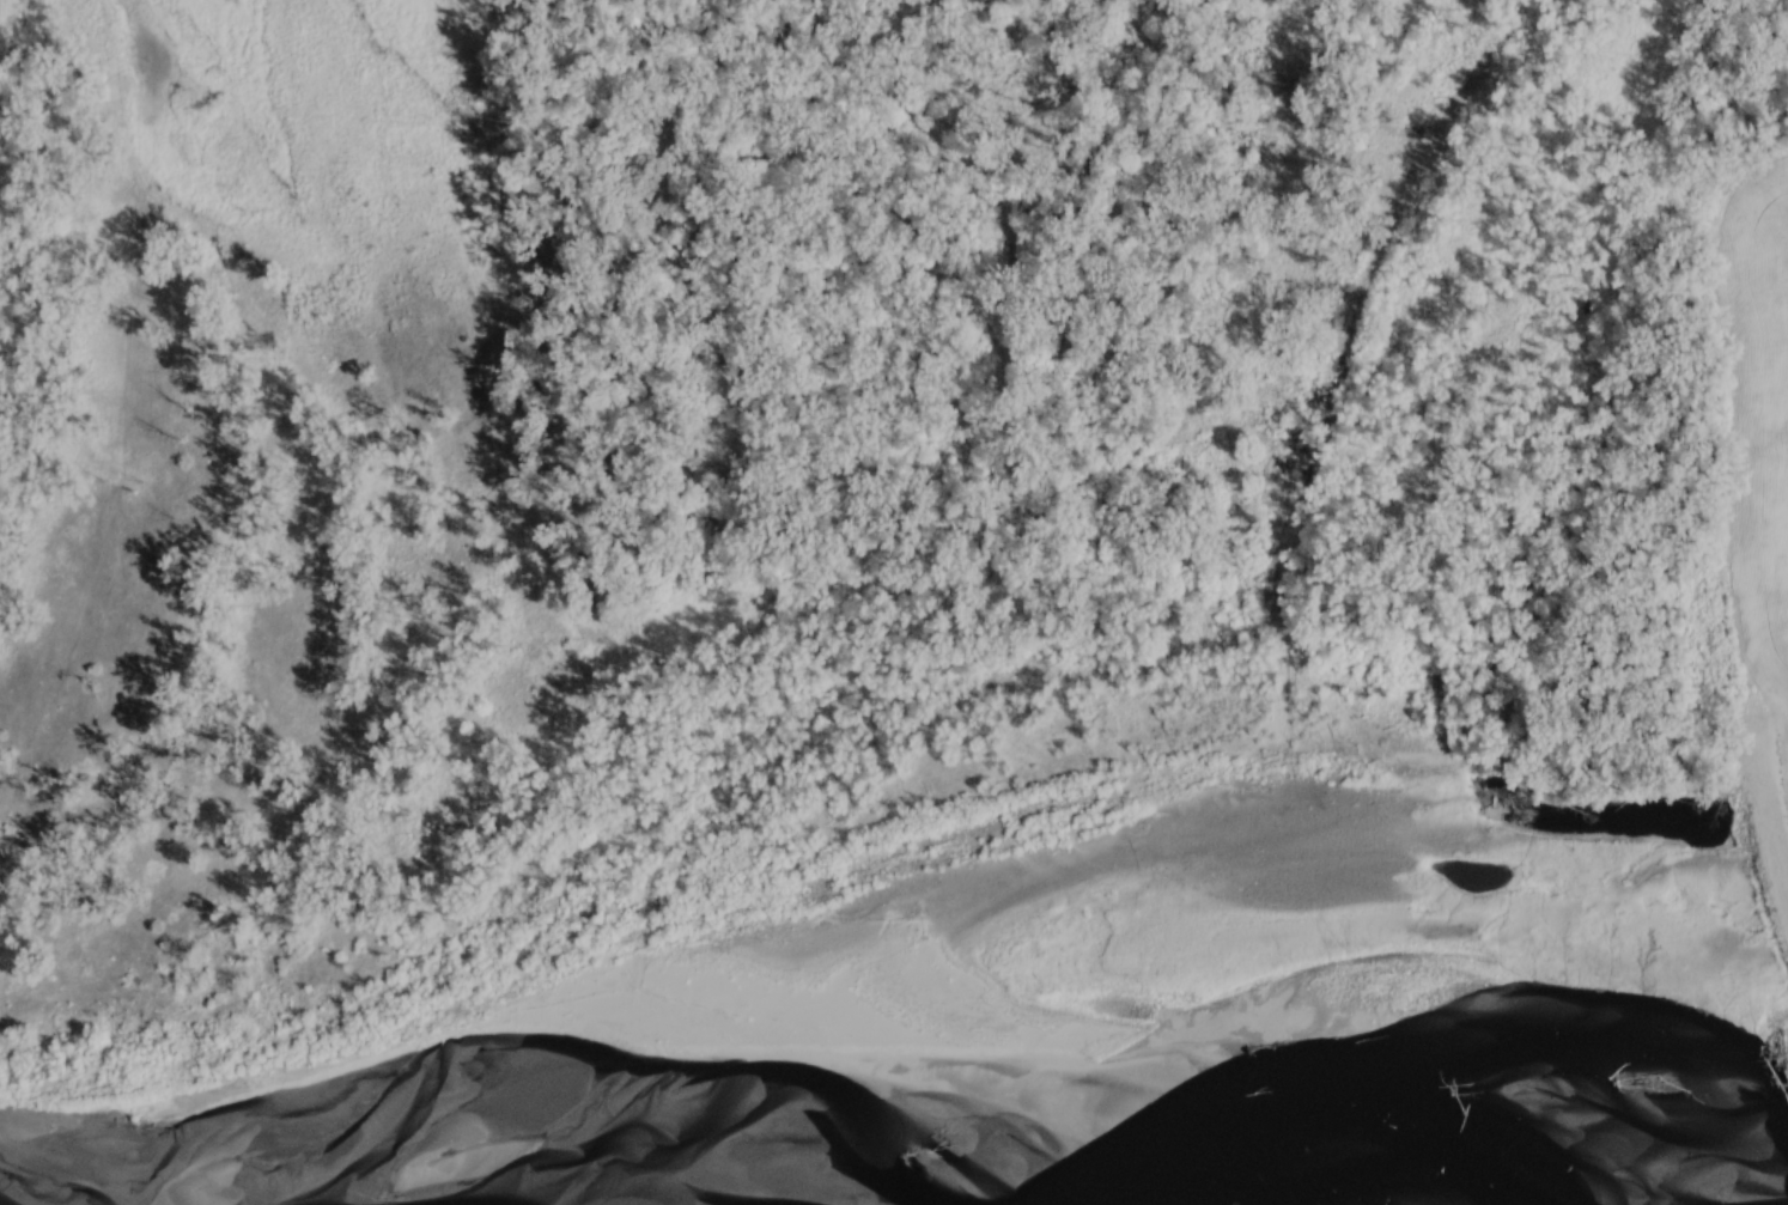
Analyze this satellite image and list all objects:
river: (831, 935)

